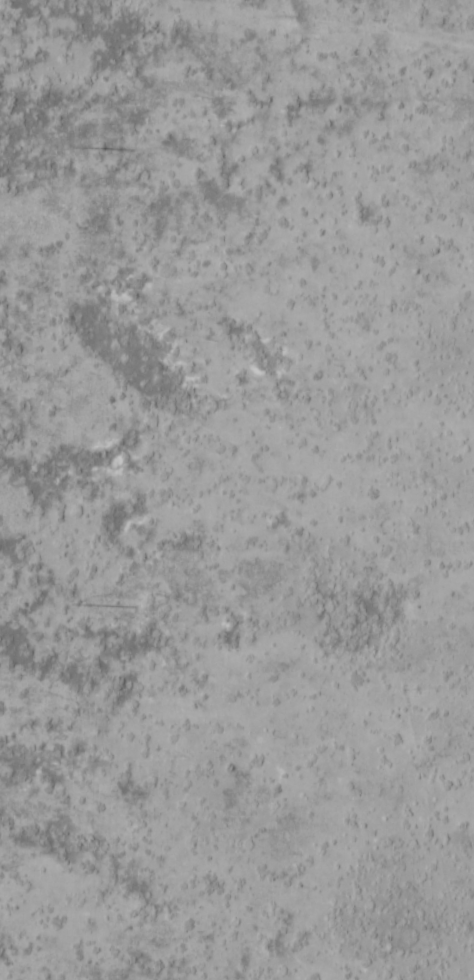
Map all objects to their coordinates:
power tower: (76, 147)
power tower: (78, 605)

